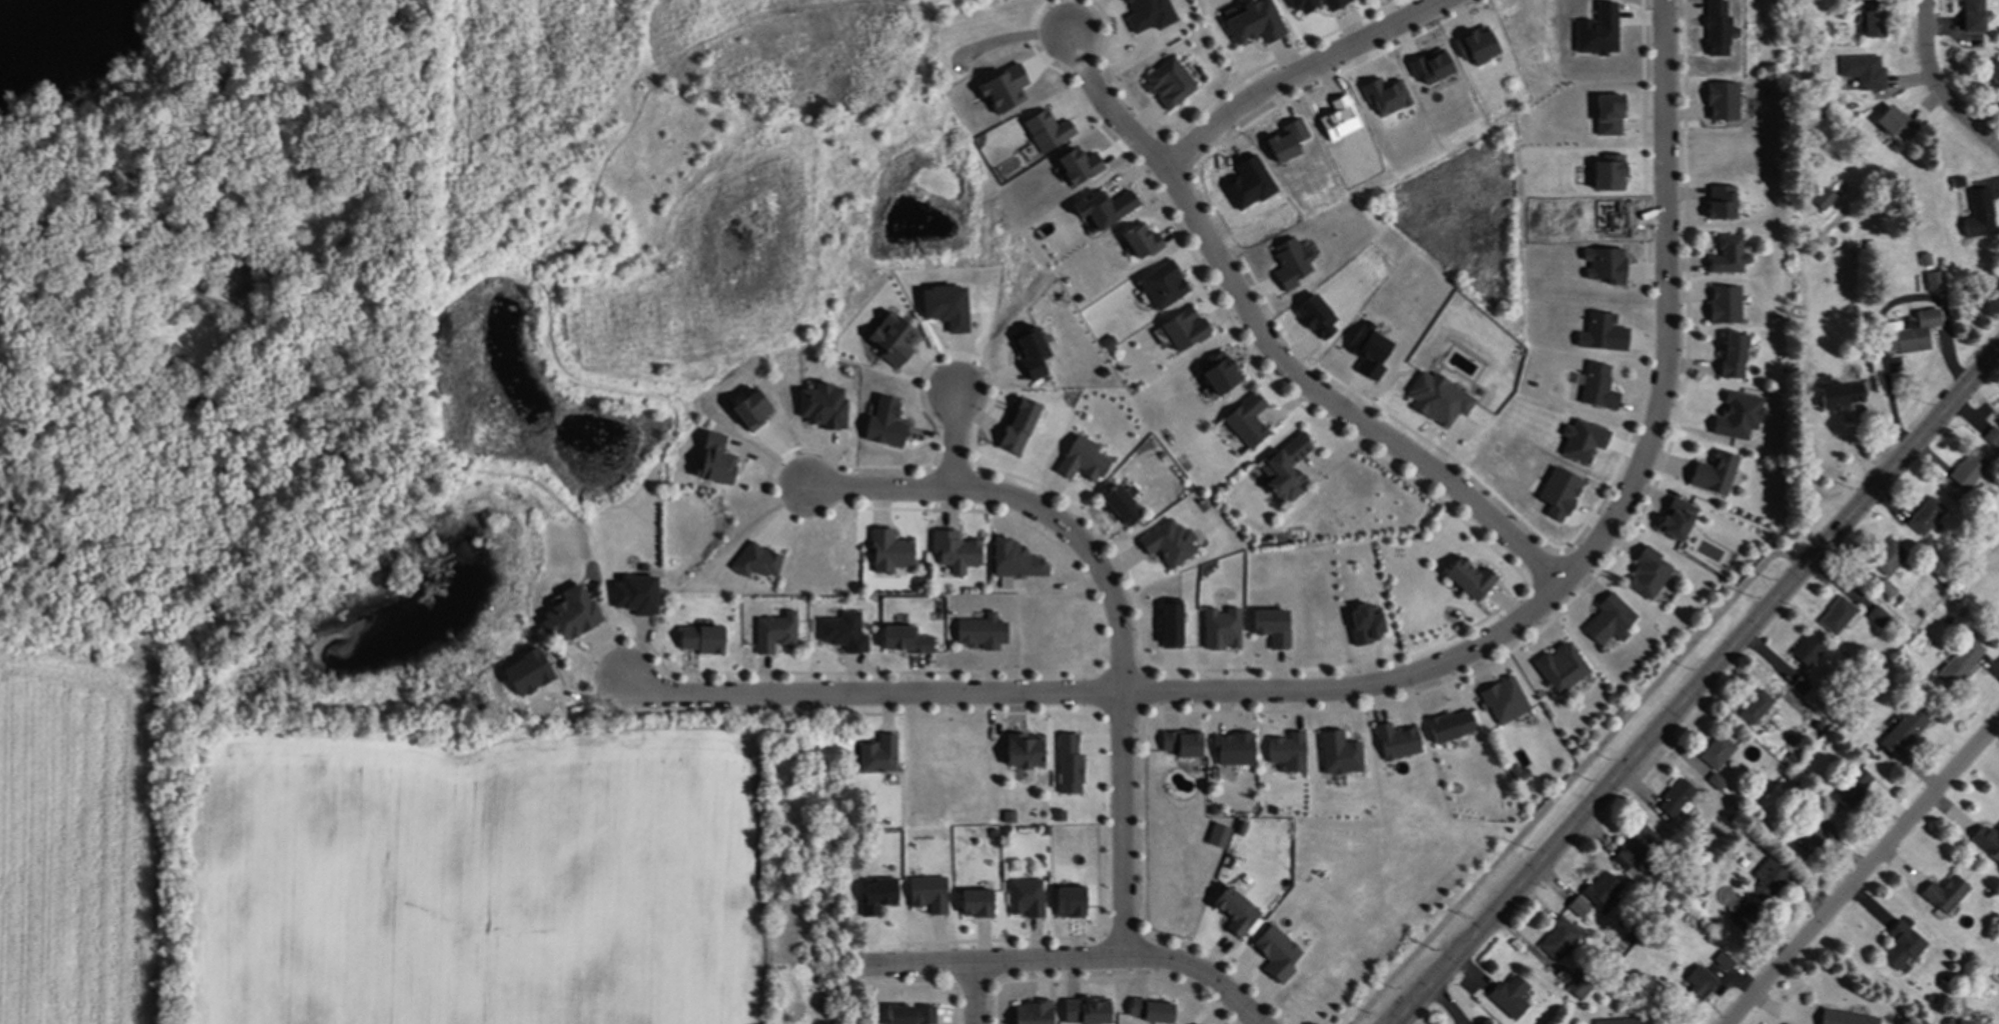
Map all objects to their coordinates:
building: (1971, 16)
building: (1872, 18)
river: (40, 29)
road: (1299, 71)
building: (1862, 71)
building: (1993, 75)
building: (1166, 83)
road: (1935, 86)
building: (1892, 124)
building: (1823, 199)
building: (1976, 212)
building: (1728, 256)
building: (1934, 281)
building: (1162, 285)
building: (1725, 304)
road: (1886, 308)
building: (1184, 330)
building: (1912, 334)
road: (1271, 346)
building: (1731, 356)
building: (1597, 387)
building: (1837, 396)
building: (1247, 420)
building: (1998, 422)
road: (961, 438)
building: (711, 460)
building: (1287, 469)
building: (1967, 471)
building: (1714, 474)
building: (1925, 516)
building: (1171, 544)
building: (889, 551)
building: (954, 552)
building: (1888, 558)
building: (1647, 574)
building: (1469, 579)
road: (1115, 589)
building: (1885, 589)
building: (568, 615)
building: (1838, 617)
building: (1877, 617)
building: (1609, 621)
building: (773, 633)
building: (980, 634)
building: (698, 640)
building: (1807, 652)
building: (1960, 663)
building: (1561, 667)
road: (1406, 671)
road: (1693, 688)
building: (1756, 709)
building: (1902, 732)
building: (1396, 742)
building: (1183, 744)
building: (1236, 749)
building: (1024, 752)
building: (1716, 753)
building: (877, 755)
building: (1340, 755)
building: (1852, 791)
building: (1675, 800)
building: (1809, 839)
building: (1986, 842)
building: (1637, 847)
road: (1865, 875)
building: (1769, 877)
building: (1602, 891)
building: (927, 894)
building: (1944, 895)
building: (1026, 898)
building: (974, 903)
building: (1578, 907)
building: (1236, 911)
building: (1557, 939)
building: (1902, 947)
road: (1077, 955)
building: (1723, 961)
building: (1696, 986)
building: (1578, 987)
road: (974, 991)
building: (1509, 997)
building: (1150, 1011)
building: (1032, 1013)
building: (908, 1015)
building: (1843, 1018)
building: (1620, 1022)
building: (1954, 1022)
building: (1199, 1023)

